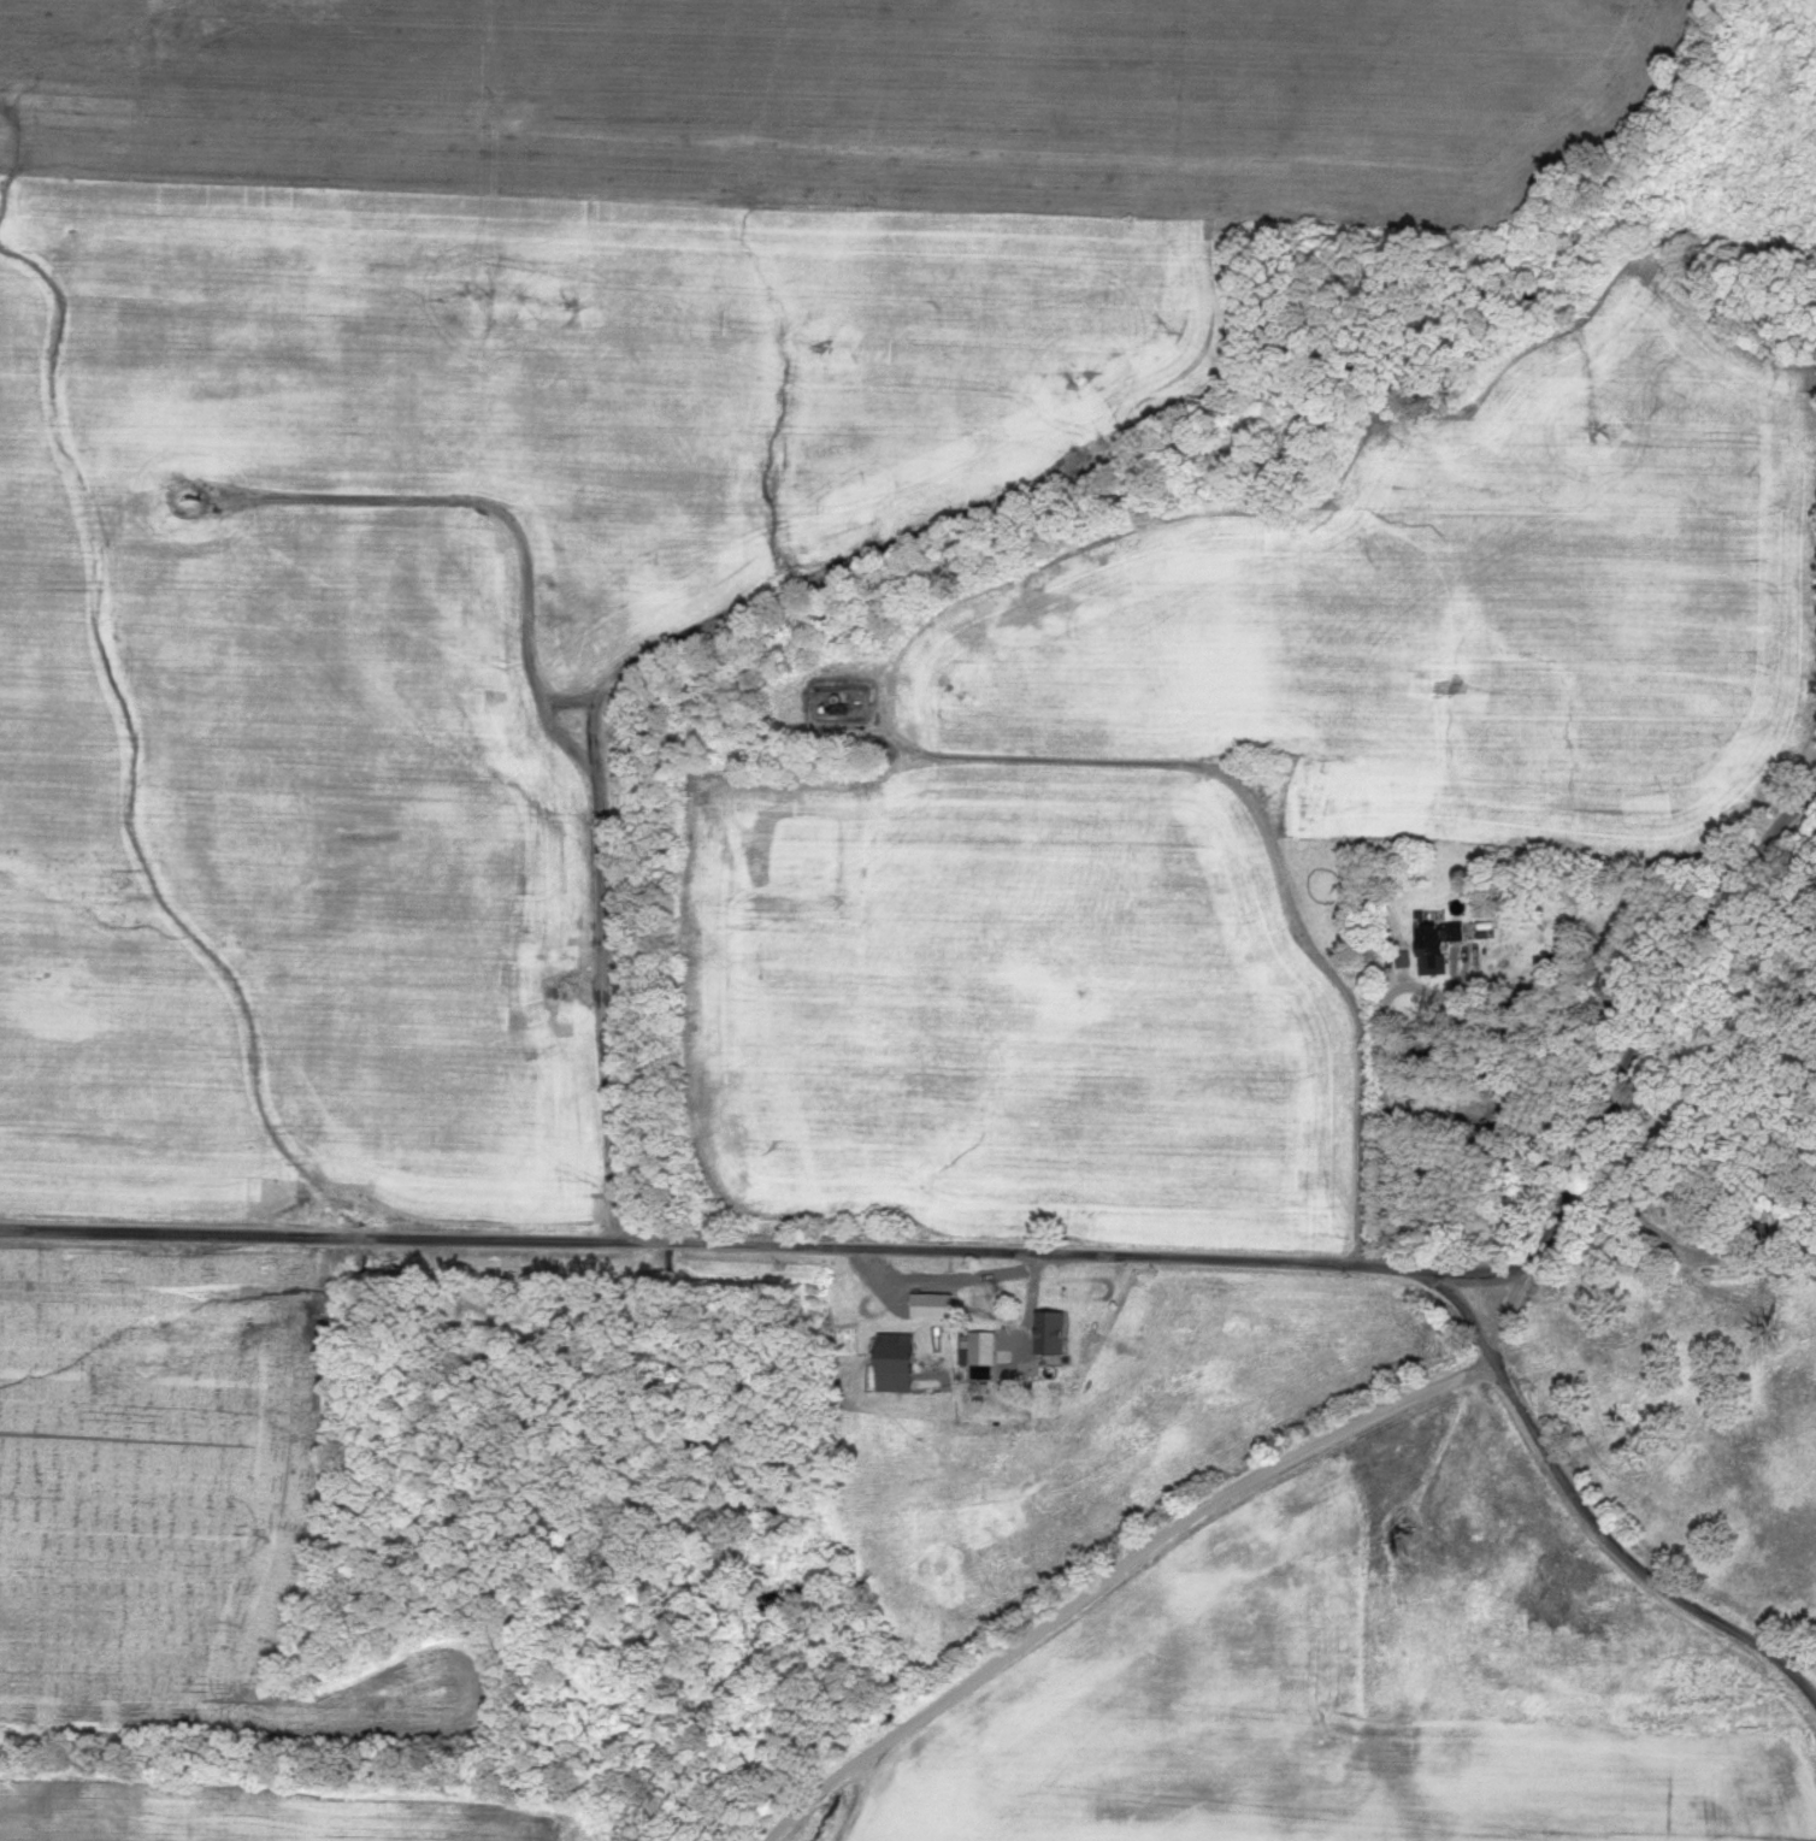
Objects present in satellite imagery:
petroleum well: (1080, 464)
petroleum well: (188, 495)
road: (837, 570)
road: (570, 698)
road: (555, 728)
road: (1270, 833)
building: (1422, 970)
petroleum well: (572, 986)
road: (1390, 990)
road: (1651, 1016)
road: (767, 1245)
building: (924, 1305)
road: (1475, 1309)
road: (1510, 1321)
building: (898, 1363)
road: (1629, 1559)
road: (1113, 1572)
road: (861, 1805)

